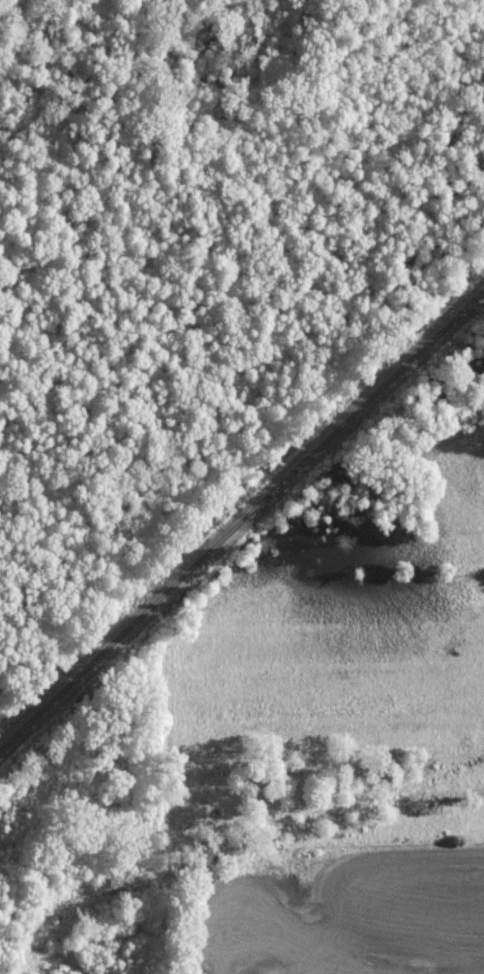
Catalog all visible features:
railway: (242, 519)

